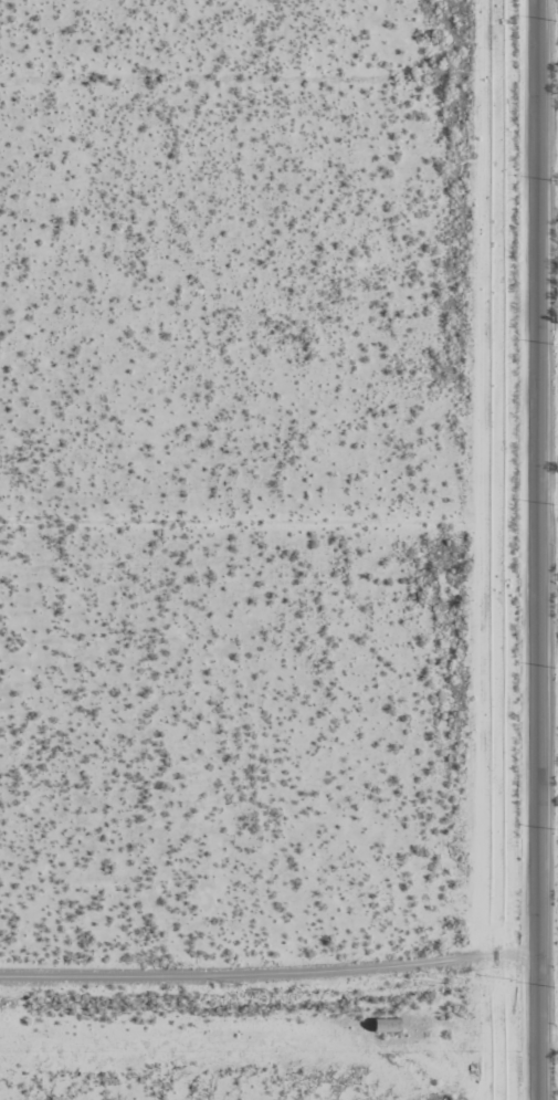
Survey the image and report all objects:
road: (523, 549)
road: (278, 999)

